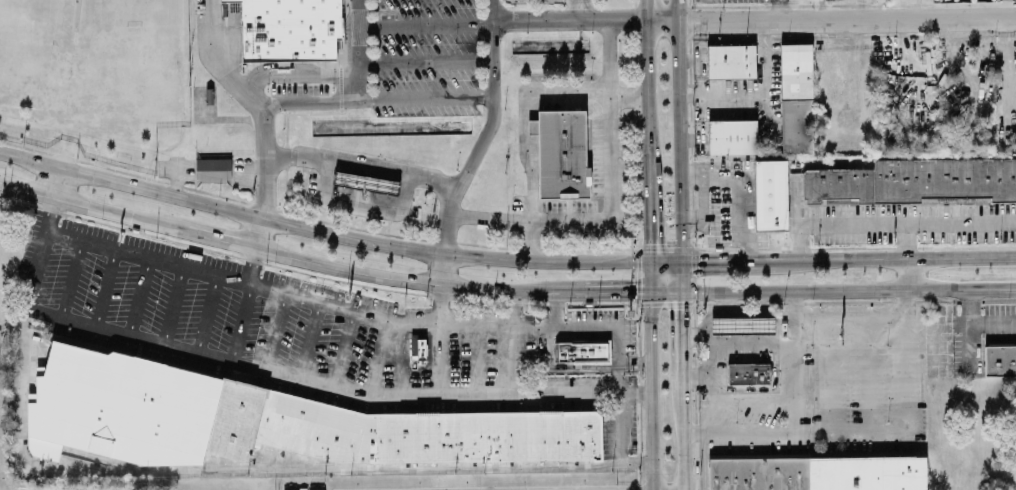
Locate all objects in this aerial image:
road: (581, 10)
road: (647, 10)
road: (781, 10)
park: (134, 12)
road: (831, 19)
road: (569, 20)
road: (425, 24)
building: (290, 30)
road: (232, 46)
park: (25, 50)
road: (357, 50)
building: (731, 60)
road: (425, 63)
road: (296, 74)
road: (759, 91)
road: (587, 97)
building: (797, 98)
road: (374, 100)
road: (493, 100)
road: (251, 103)
road: (648, 103)
road: (680, 130)
building: (732, 135)
road: (692, 139)
building: (562, 154)
building: (213, 169)
road: (390, 170)
road: (530, 179)
road: (58, 182)
building: (366, 182)
building: (915, 182)
building: (771, 193)
road: (704, 194)
road: (747, 197)
road: (609, 202)
road: (361, 206)
road: (93, 207)
road: (796, 210)
parking lot: (835, 216)
road: (651, 224)
road: (906, 226)
road: (389, 227)
road: (322, 230)
road: (257, 233)
road: (219, 239)
road: (39, 252)
road: (895, 257)
road: (667, 260)
traffic signals: (682, 260)
road: (729, 260)
traffic signals: (652, 261)
road: (249, 265)
road: (443, 271)
road: (651, 275)
road: (682, 275)
road: (71, 279)
road: (392, 280)
road: (104, 288)
traffic signals: (650, 289)
road: (666, 289)
road: (616, 290)
traffic signals: (682, 290)
road: (849, 290)
road: (558, 291)
road: (139, 296)
road: (173, 305)
road: (328, 305)
road: (440, 307)
road: (555, 310)
road: (206, 314)
road: (849, 321)
road: (993, 322)
road: (241, 323)
building: (743, 325)
road: (971, 326)
road: (275, 332)
road: (682, 335)
road: (309, 341)
road: (514, 343)
building: (418, 347)
road: (343, 350)
building: (582, 351)
road: (379, 358)
road: (398, 360)
road: (438, 360)
road: (477, 360)
building: (1000, 360)
road: (792, 361)
road: (634, 362)
road: (563, 370)
building: (748, 373)
road: (831, 376)
road: (867, 376)
road: (331, 387)
road: (648, 389)
road: (619, 396)
road: (750, 397)
road: (709, 416)
road: (894, 430)
road: (681, 435)
road: (258, 469)
building: (818, 473)

